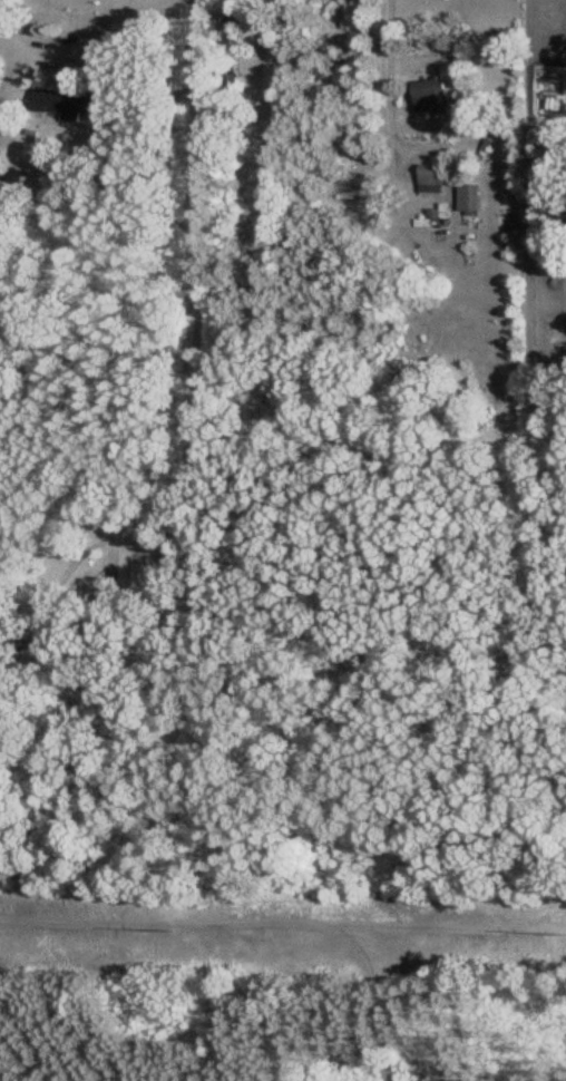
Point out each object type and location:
building: (429, 97)
building: (429, 178)

